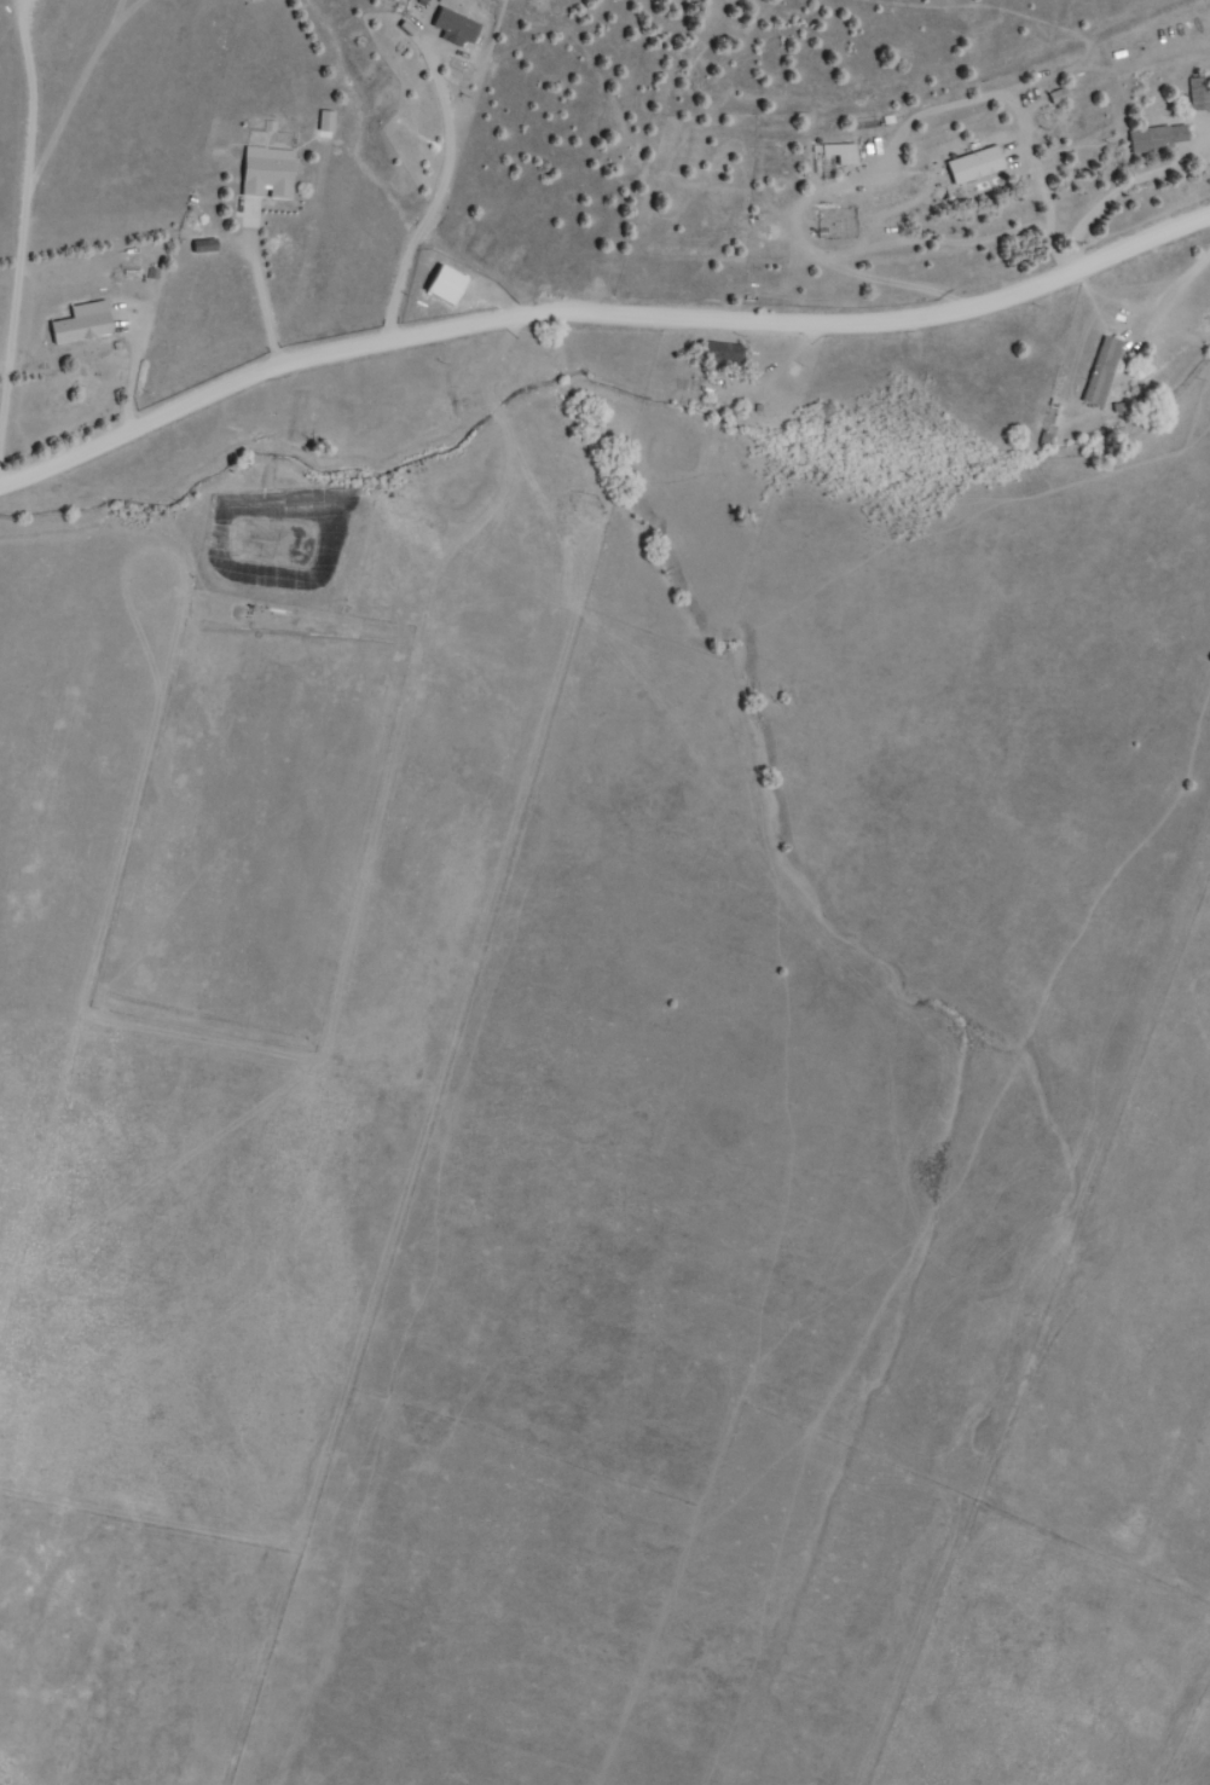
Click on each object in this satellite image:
building: (1200, 94)
building: (1060, 97)
building: (1162, 139)
building: (844, 153)
building: (979, 166)
building: (272, 173)
building: (453, 286)
road: (318, 295)
road: (266, 346)
building: (723, 354)
road: (603, 370)
building: (1105, 372)
building: (98, 375)
building: (826, 419)

